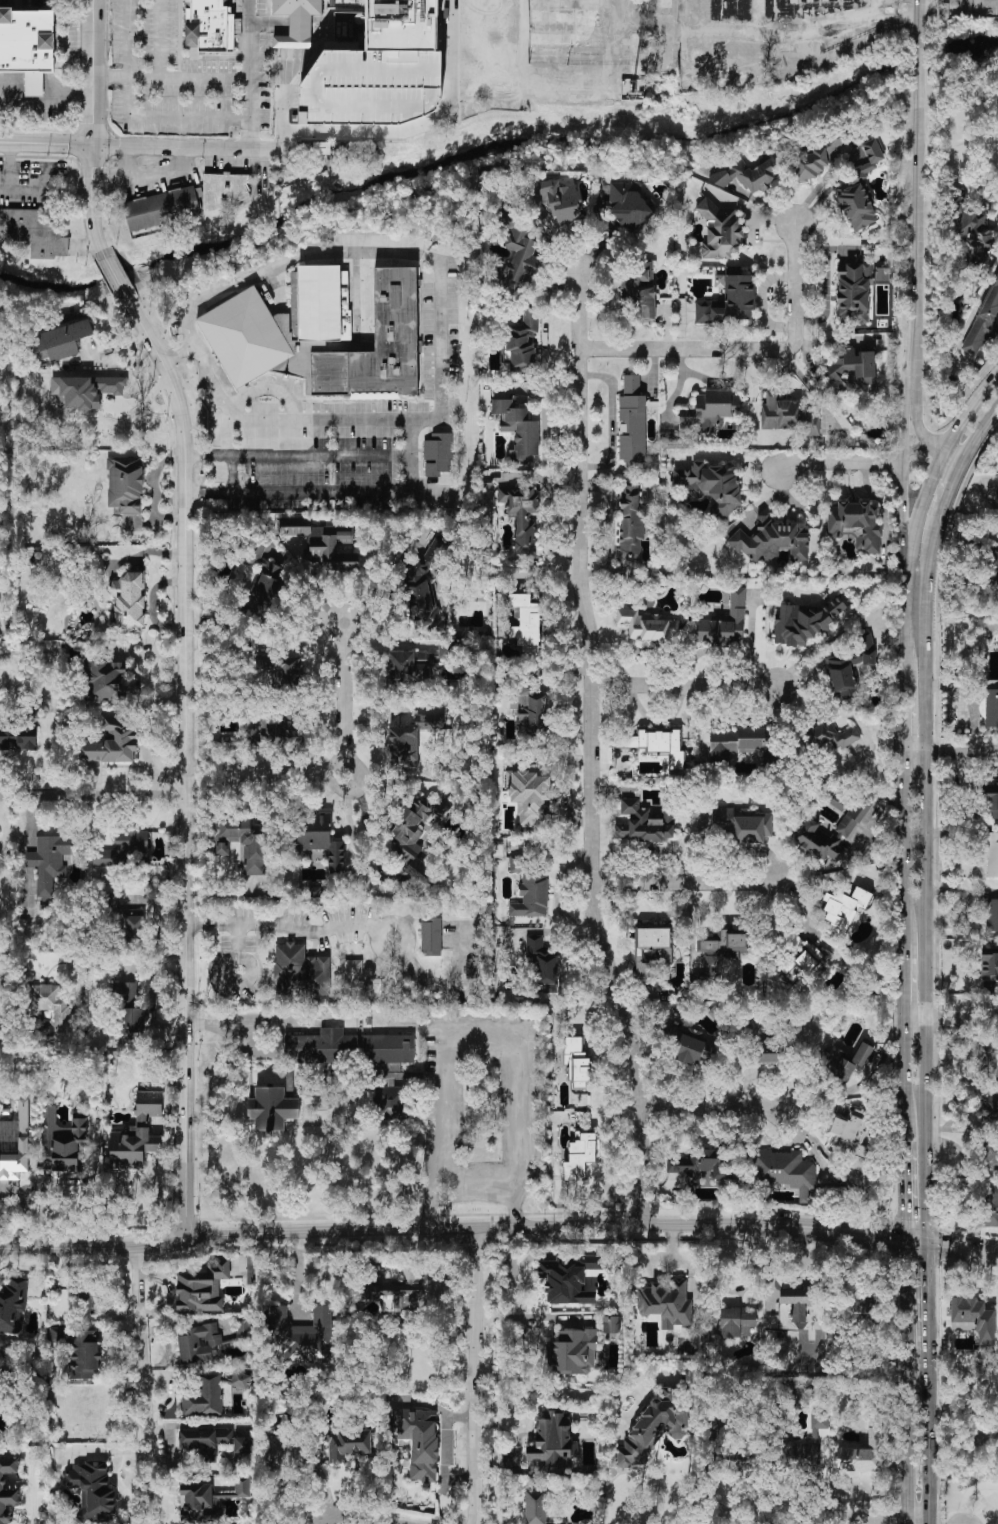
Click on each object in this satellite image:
building: (810, 6)
building: (296, 21)
building: (211, 26)
building: (28, 46)
building: (379, 70)
road: (109, 73)
road: (249, 75)
road: (44, 104)
road: (130, 114)
road: (409, 127)
road: (92, 129)
road: (45, 146)
road: (218, 150)
building: (818, 157)
road: (9, 169)
building: (749, 176)
road: (915, 178)
building: (485, 183)
building: (860, 186)
road: (36, 192)
building: (561, 200)
building: (629, 203)
building: (163, 207)
building: (35, 230)
building: (720, 231)
building: (974, 232)
road: (86, 245)
building: (516, 247)
road: (323, 250)
road: (115, 277)
building: (639, 290)
building: (857, 290)
building: (731, 302)
building: (984, 321)
building: (322, 336)
building: (61, 340)
building: (523, 340)
road: (745, 349)
road: (177, 352)
building: (0, 371)
road: (914, 401)
road: (968, 407)
building: (709, 412)
building: (787, 416)
road: (353, 419)
road: (611, 420)
building: (632, 421)
building: (518, 429)
road: (934, 446)
road: (914, 449)
road: (951, 453)
building: (438, 455)
road: (296, 456)
road: (900, 458)
road: (840, 463)
road: (232, 474)
building: (125, 484)
building: (712, 485)
road: (315, 491)
building: (996, 491)
building: (521, 516)
building: (630, 523)
building: (855, 523)
building: (773, 540)
building: (324, 542)
building: (990, 562)
road: (905, 564)
building: (422, 590)
building: (129, 602)
building: (806, 621)
building: (526, 623)
building: (725, 623)
building: (648, 625)
road: (751, 637)
road: (813, 647)
building: (444, 650)
building: (410, 667)
building: (850, 668)
building: (283, 670)
building: (992, 684)
road: (684, 685)
building: (989, 708)
road: (838, 709)
building: (533, 711)
road: (901, 720)
building: (20, 733)
building: (275, 733)
building: (832, 736)
building: (410, 739)
building: (734, 742)
building: (112, 743)
building: (656, 743)
road: (588, 750)
road: (949, 753)
road: (183, 760)
road: (343, 774)
road: (92, 794)
building: (531, 797)
building: (991, 798)
building: (838, 801)
road: (924, 814)
building: (644, 823)
building: (743, 823)
road: (366, 824)
building: (809, 828)
building: (414, 843)
building: (318, 845)
building: (125, 850)
building: (992, 854)
building: (48, 862)
road: (684, 884)
building: (530, 890)
building: (844, 908)
building: (992, 914)
road: (234, 922)
road: (355, 926)
building: (134, 927)
building: (431, 937)
road: (902, 942)
building: (729, 943)
building: (653, 946)
road: (119, 960)
building: (542, 965)
building: (989, 965)
building: (353, 968)
building: (300, 971)
building: (126, 993)
building: (49, 1006)
road: (949, 1019)
building: (132, 1022)
road: (232, 1025)
road: (477, 1036)
building: (349, 1047)
building: (691, 1049)
building: (770, 1058)
building: (871, 1059)
building: (991, 1059)
building: (845, 1060)
building: (578, 1064)
building: (388, 1102)
building: (272, 1108)
road: (712, 1108)
building: (989, 1108)
building: (136, 1133)
building: (852, 1137)
building: (62, 1142)
building: (14, 1147)
building: (580, 1156)
building: (697, 1164)
building: (784, 1171)
road: (899, 1183)
road: (477, 1186)
road: (42, 1196)
building: (990, 1208)
road: (461, 1232)
traffic signals: (898, 1236)
traffic signals: (924, 1240)
road: (961, 1245)
building: (568, 1279)
building: (202, 1287)
building: (392, 1290)
road: (924, 1295)
building: (88, 1300)
building: (666, 1302)
building: (13, 1305)
building: (796, 1308)
road: (521, 1318)
building: (973, 1318)
building: (737, 1322)
building: (610, 1324)
building: (302, 1334)
building: (199, 1344)
building: (573, 1352)
building: (83, 1355)
building: (241, 1376)
road: (473, 1378)
road: (901, 1379)
road: (146, 1386)
road: (545, 1389)
building: (203, 1397)
building: (653, 1428)
road: (926, 1434)
building: (419, 1440)
building: (348, 1443)
building: (552, 1443)
building: (216, 1444)
building: (809, 1452)
building: (862, 1454)
building: (2, 1481)
building: (241, 1486)
building: (92, 1490)
road: (33, 1501)
building: (199, 1502)
building: (537, 1507)
road: (369, 1510)
road: (824, 1516)
road: (488, 1517)
road: (928, 1520)

